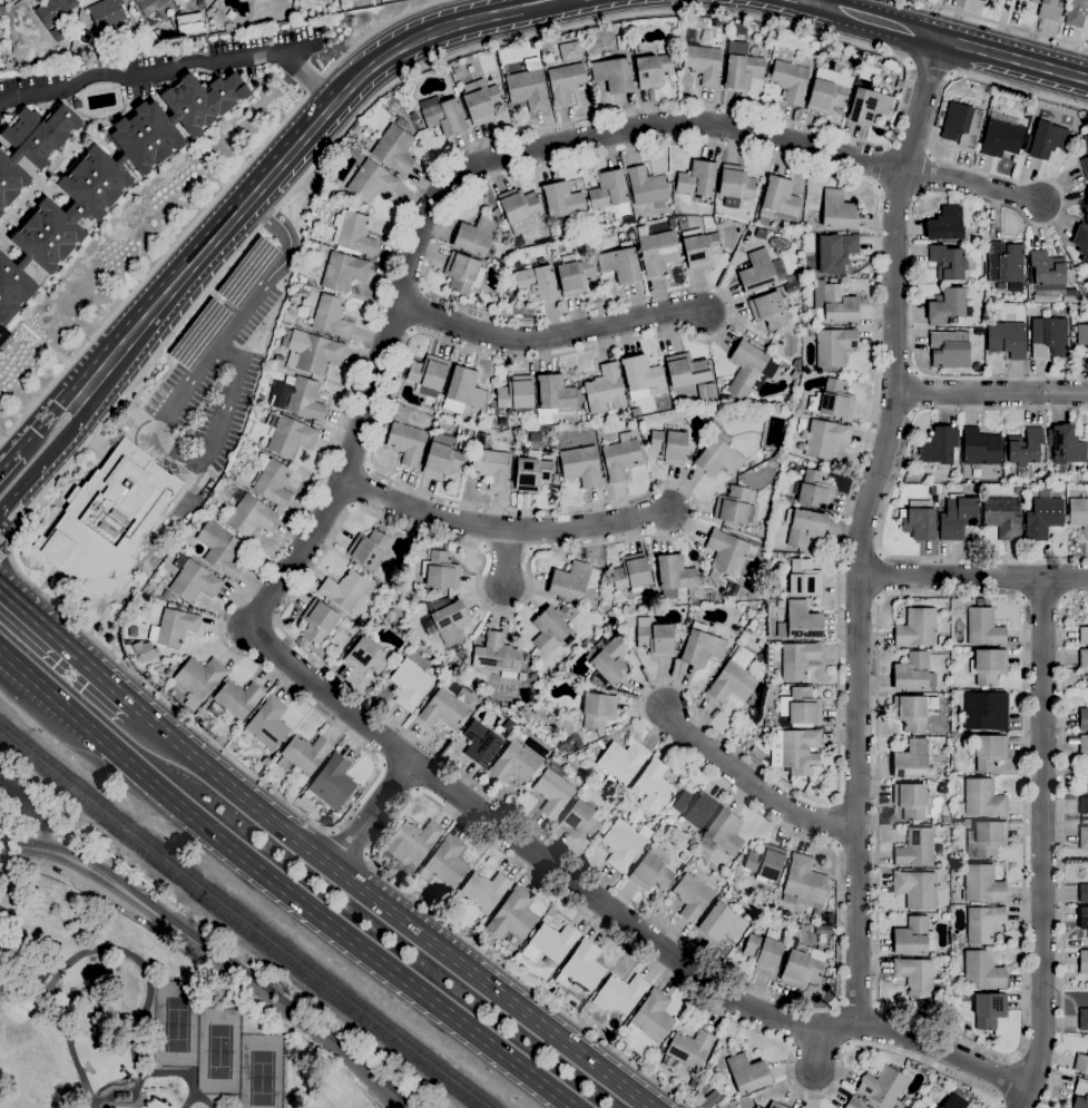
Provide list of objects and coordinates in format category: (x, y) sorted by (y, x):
building: (980, 0)
road: (807, 1)
road: (815, 1)
building: (149, 6)
building: (55, 9)
building: (1048, 9)
building: (1076, 13)
building: (107, 14)
road: (486, 18)
building: (724, 22)
road: (1000, 23)
building: (738, 29)
building: (756, 29)
building: (59, 33)
road: (951, 42)
building: (568, 51)
building: (857, 53)
building: (700, 60)
road: (175, 68)
building: (741, 68)
road: (928, 68)
road: (367, 71)
building: (653, 71)
building: (612, 76)
building: (788, 81)
building: (565, 84)
building: (527, 90)
building: (827, 90)
building: (481, 101)
building: (77, 105)
building: (868, 107)
building: (442, 116)
building: (1087, 124)
building: (960, 125)
building: (1001, 138)
building: (1047, 140)
building: (1085, 145)
building: (31, 146)
road: (885, 146)
building: (392, 149)
road: (291, 153)
road: (908, 154)
road: (930, 157)
building: (1085, 166)
road: (883, 167)
road: (923, 174)
road: (836, 176)
building: (111, 177)
building: (697, 179)
building: (372, 183)
road: (972, 184)
building: (735, 186)
building: (647, 188)
road: (876, 188)
road: (899, 189)
building: (608, 190)
road: (919, 193)
road: (440, 194)
building: (1087, 198)
building: (561, 200)
road: (213, 202)
building: (777, 202)
road: (1009, 207)
building: (518, 209)
building: (837, 210)
building: (683, 225)
building: (945, 225)
building: (353, 233)
building: (474, 236)
building: (1081, 241)
building: (698, 248)
road: (206, 249)
building: (657, 253)
building: (835, 253)
building: (540, 262)
building: (948, 263)
building: (1004, 263)
building: (620, 264)
road: (275, 265)
building: (343, 272)
building: (757, 272)
building: (247, 273)
building: (462, 273)
building: (1048, 273)
building: (575, 277)
building: (536, 283)
building: (791, 286)
road: (422, 288)
building: (1043, 300)
building: (833, 304)
building: (948, 307)
road: (413, 310)
building: (770, 311)
building: (331, 317)
building: (976, 330)
road: (410, 332)
building: (199, 335)
road: (549, 336)
building: (1081, 336)
building: (1048, 337)
building: (1007, 340)
road: (125, 346)
building: (834, 347)
building: (949, 350)
building: (314, 352)
building: (745, 369)
building: (686, 371)
building: (428, 372)
building: (639, 373)
road: (915, 374)
building: (794, 375)
parking lot: (214, 381)
building: (605, 390)
building: (462, 391)
building: (709, 391)
building: (516, 393)
building: (556, 393)
road: (912, 393)
road: (990, 393)
building: (258, 399)
building: (303, 399)
building: (832, 401)
building: (724, 402)
road: (912, 413)
road: (43, 415)
building: (291, 438)
building: (533, 438)
building: (825, 440)
building: (406, 443)
building: (668, 445)
building: (938, 445)
building: (1066, 447)
building: (979, 448)
building: (1025, 449)
road: (184, 455)
road: (6, 458)
road: (49, 458)
building: (443, 458)
building: (718, 458)
building: (619, 460)
building: (580, 467)
building: (491, 468)
road: (367, 469)
building: (531, 474)
building: (273, 483)
road: (357, 488)
building: (1017, 490)
building: (814, 491)
road: (889, 498)
building: (788, 501)
building: (732, 506)
building: (204, 508)
road: (352, 508)
building: (1078, 516)
building: (251, 517)
building: (957, 518)
building: (1002, 518)
building: (1042, 518)
building: (106, 521)
building: (919, 521)
building: (804, 527)
road: (862, 527)
road: (501, 528)
road: (6, 547)
road: (482, 547)
road: (506, 547)
building: (369, 549)
building: (219, 550)
road: (530, 550)
building: (726, 552)
road: (880, 555)
road: (506, 557)
building: (439, 571)
building: (630, 572)
building: (674, 576)
road: (876, 577)
road: (973, 577)
building: (804, 579)
building: (193, 580)
building: (569, 582)
building: (344, 590)
road: (878, 599)
building: (317, 621)
building: (450, 622)
building: (800, 624)
building: (983, 627)
building: (174, 628)
building: (917, 629)
building: (548, 631)
building: (1084, 636)
building: (654, 638)
road: (69, 647)
building: (700, 647)
building: (144, 651)
building: (366, 656)
building: (497, 656)
building: (797, 660)
building: (1084, 660)
building: (607, 661)
building: (175, 665)
building: (988, 666)
building: (167, 673)
building: (913, 674)
road: (18, 679)
building: (734, 679)
building: (199, 680)
building: (411, 684)
building: (235, 700)
building: (755, 700)
building: (801, 707)
building: (442, 709)
building: (598, 710)
building: (986, 712)
building: (912, 713)
road: (21, 714)
road: (180, 716)
building: (1084, 719)
building: (766, 724)
building: (266, 725)
building: (509, 726)
building: (480, 744)
building: (745, 744)
building: (1084, 748)
building: (800, 752)
building: (989, 753)
building: (303, 754)
building: (911, 761)
building: (265, 762)
building: (514, 763)
road: (382, 765)
building: (620, 765)
road: (401, 776)
building: (332, 783)
road: (757, 784)
building: (653, 787)
road: (418, 791)
building: (552, 791)
building: (983, 800)
building: (910, 801)
road: (831, 802)
building: (304, 805)
road: (35, 806)
building: (1084, 806)
building: (696, 808)
road: (372, 814)
building: (325, 821)
building: (581, 821)
building: (958, 823)
road: (835, 824)
building: (657, 826)
road: (35, 832)
building: (723, 833)
building: (1084, 839)
building: (986, 840)
building: (412, 842)
road: (349, 844)
building: (621, 844)
road: (1042, 844)
road: (1061, 844)
road: (836, 846)
building: (915, 849)
building: (684, 856)
building: (765, 862)
building: (444, 865)
road: (520, 866)
building: (650, 874)
building: (803, 882)
building: (982, 884)
road: (280, 888)
building: (484, 890)
building: (915, 890)
building: (1082, 893)
building: (692, 898)
road: (391, 912)
road: (612, 913)
building: (512, 916)
building: (945, 916)
railway: (243, 919)
building: (1082, 922)
building: (722, 923)
railway: (237, 924)
building: (982, 924)
building: (478, 937)
building: (794, 937)
building: (912, 938)
building: (549, 943)
building: (763, 951)
road: (213, 957)
building: (1084, 963)
building: (802, 964)
building: (581, 968)
building: (982, 971)
building: (914, 977)
road: (148, 991)
building: (619, 994)
road: (833, 1004)
road: (876, 1008)
road: (855, 1009)
building: (988, 1010)
park: (139, 1014)
building: (651, 1018)
building: (1084, 1020)
road: (68, 1024)
park: (179, 1026)
road: (1021, 1028)
road: (791, 1043)
road: (819, 1043)
road: (847, 1046)
building: (689, 1048)
road: (816, 1051)
park: (223, 1055)
building: (665, 1061)
building: (1081, 1063)
park: (264, 1072)
building: (747, 1075)
road: (1006, 1081)
building: (882, 1087)
building: (1080, 1095)
building: (955, 1100)
building: (854, 1104)
building: (775, 1105)
building: (933, 1106)
building: (755, 1107)
building: (757, 1107)

